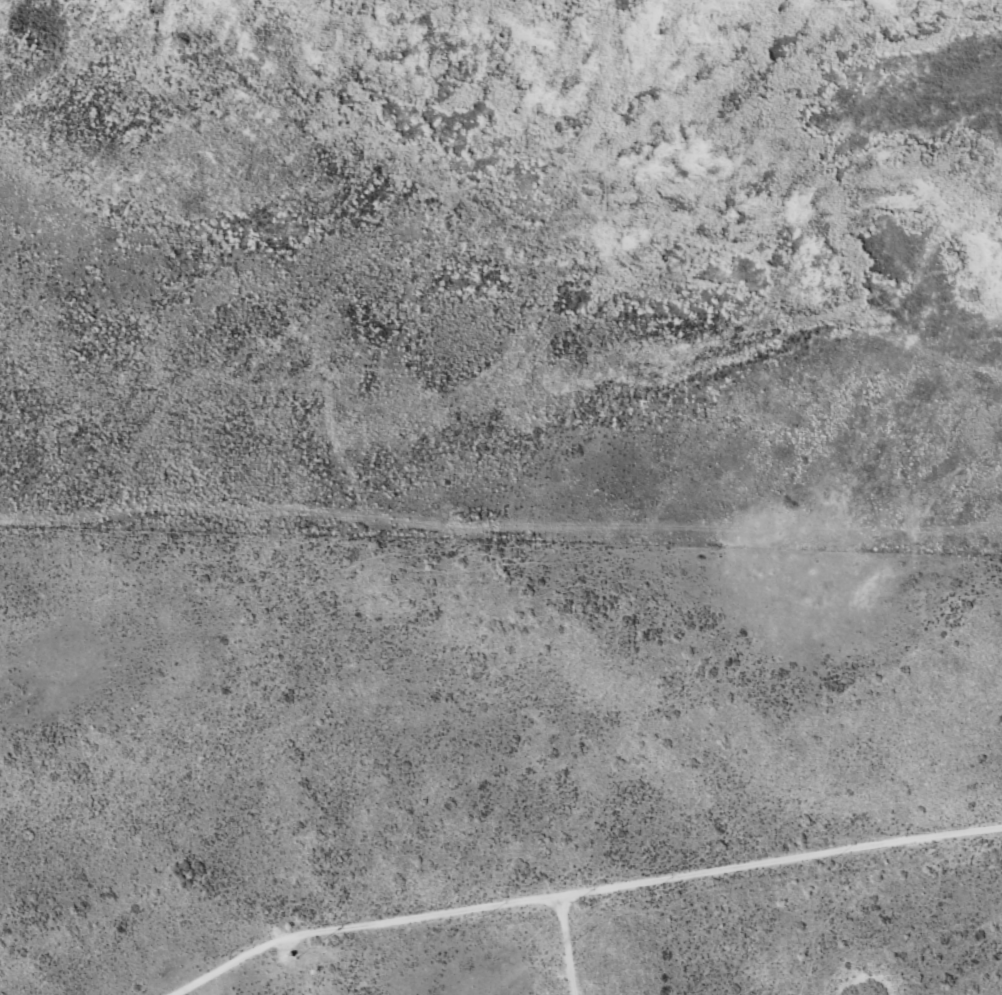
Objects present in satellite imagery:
road: (583, 896)

